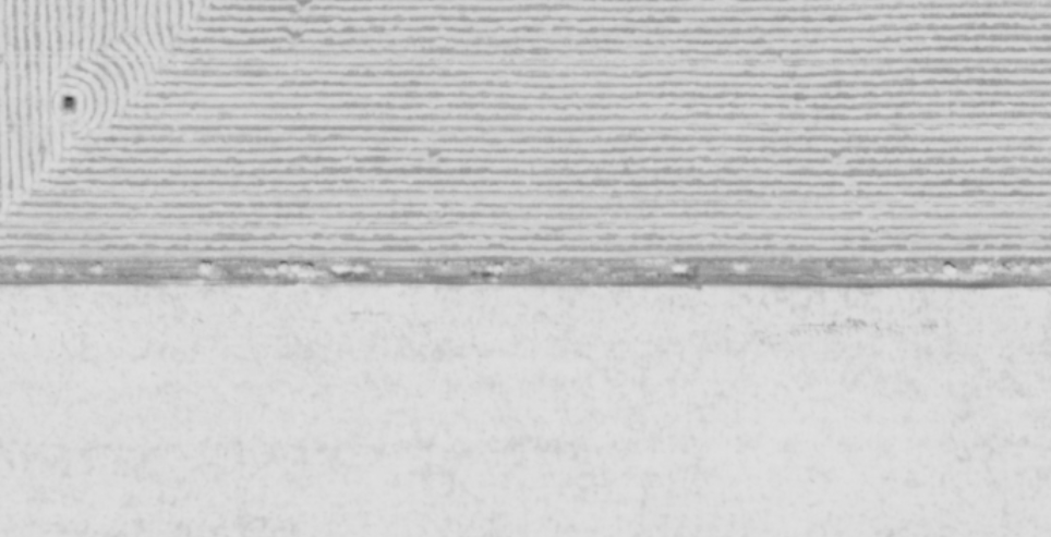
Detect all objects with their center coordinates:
crop: (525, 268)

